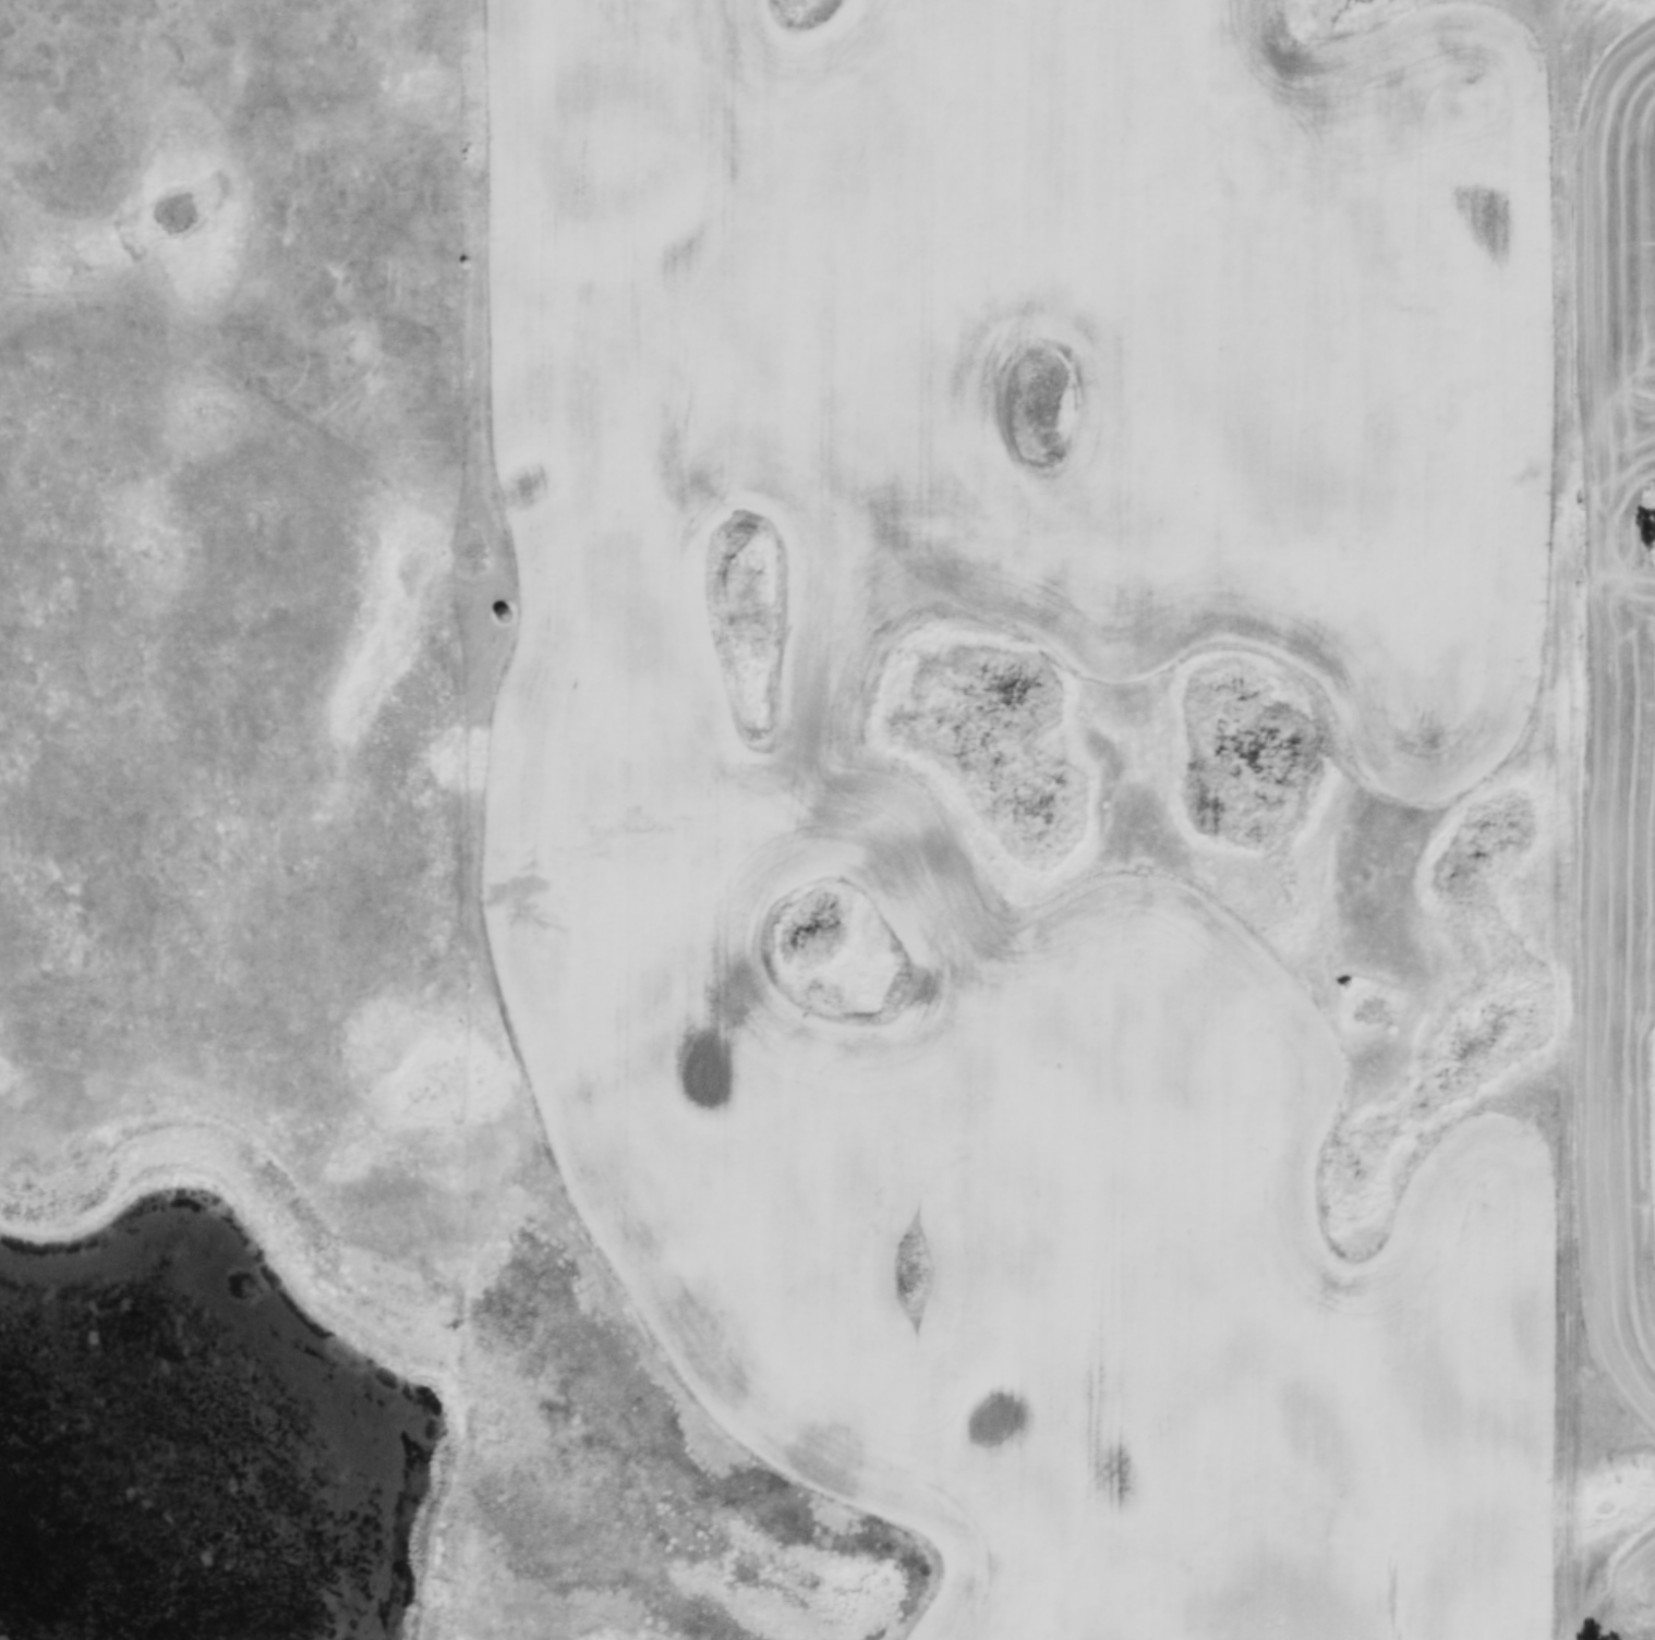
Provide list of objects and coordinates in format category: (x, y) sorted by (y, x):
building: (499, 615)
road: (1574, 816)

